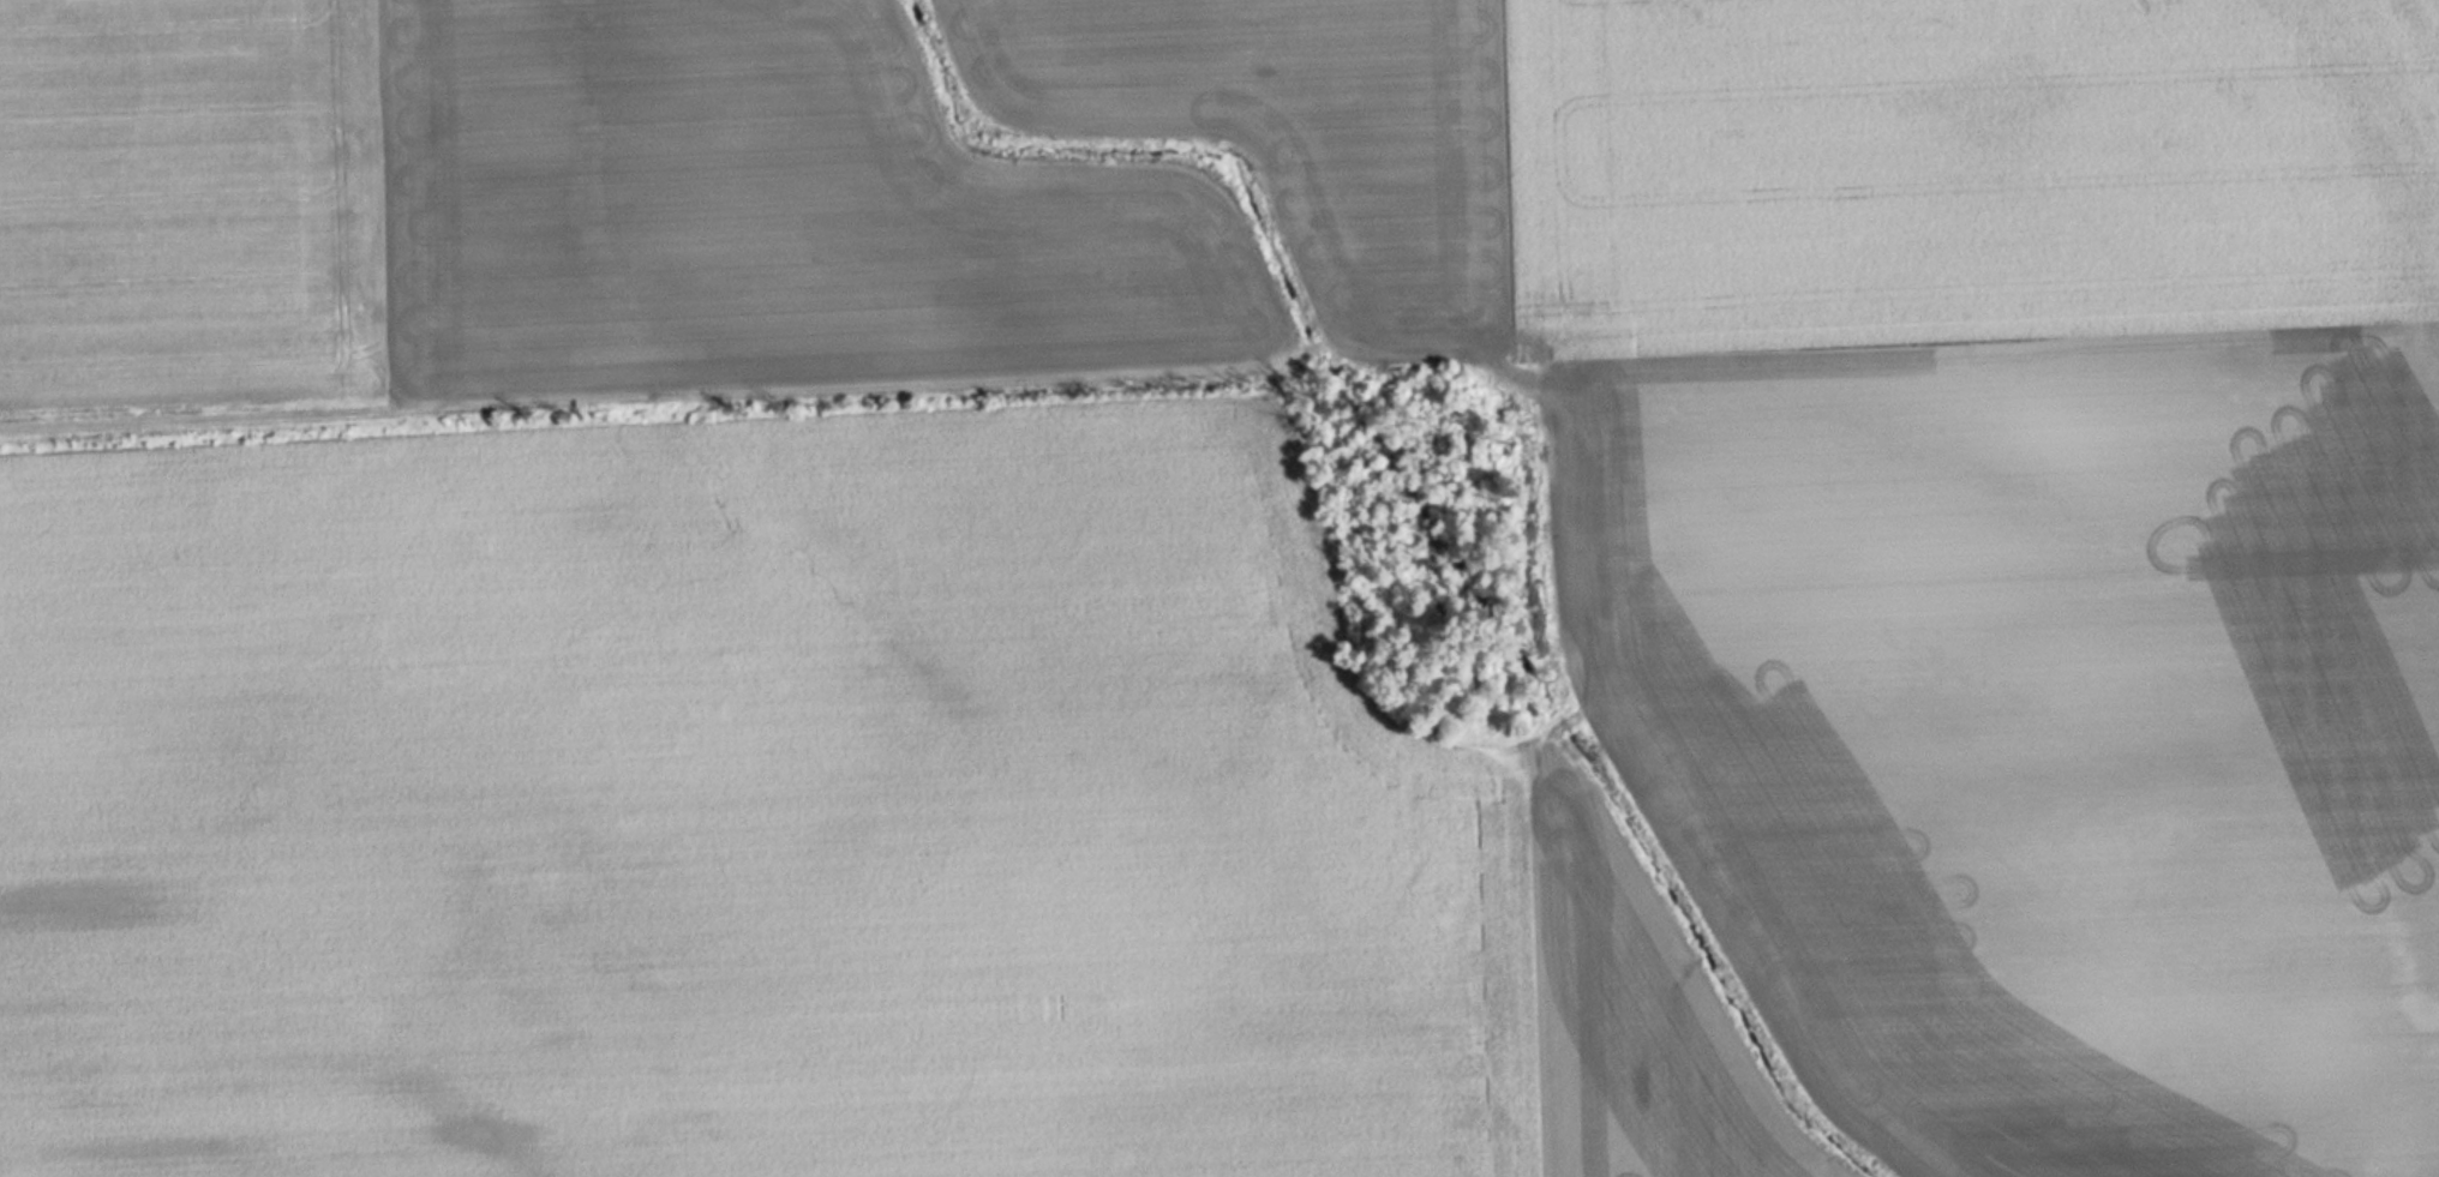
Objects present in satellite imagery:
road: (622, 388)
crop: (1212, 589)

